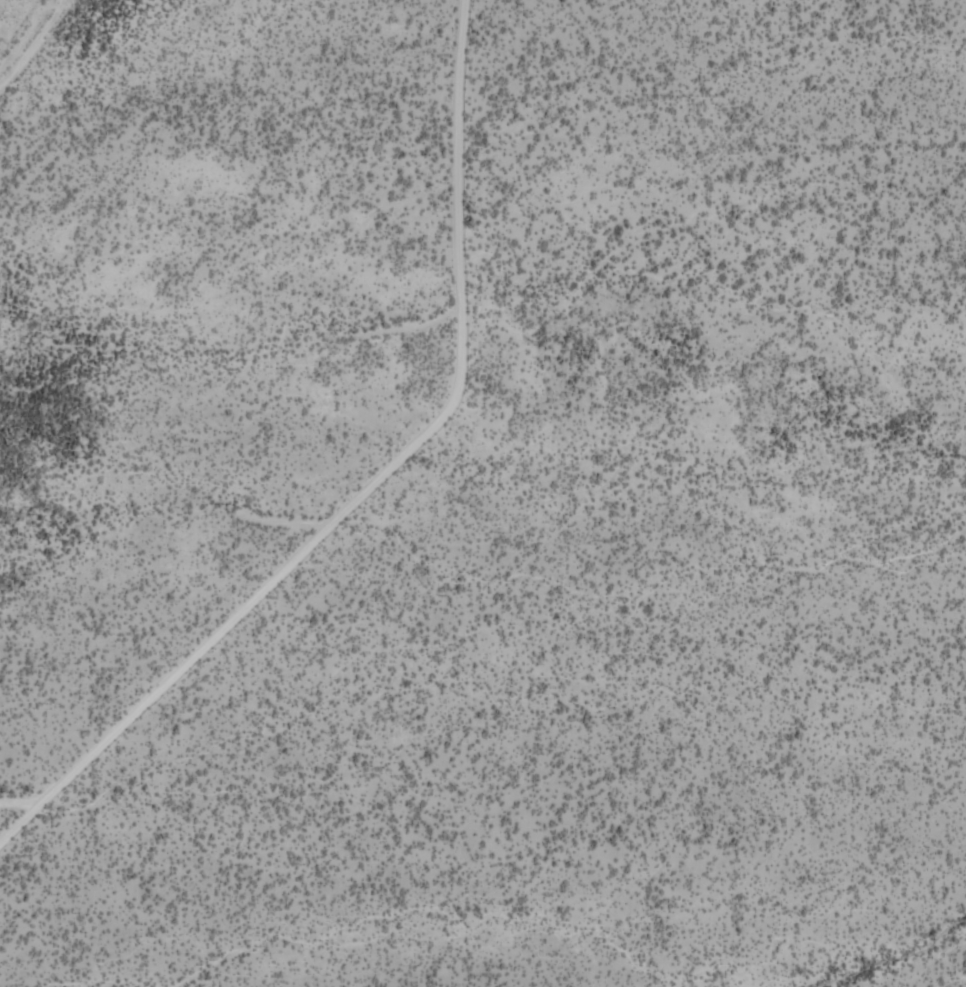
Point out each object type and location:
building: (565, 102)
building: (599, 799)

